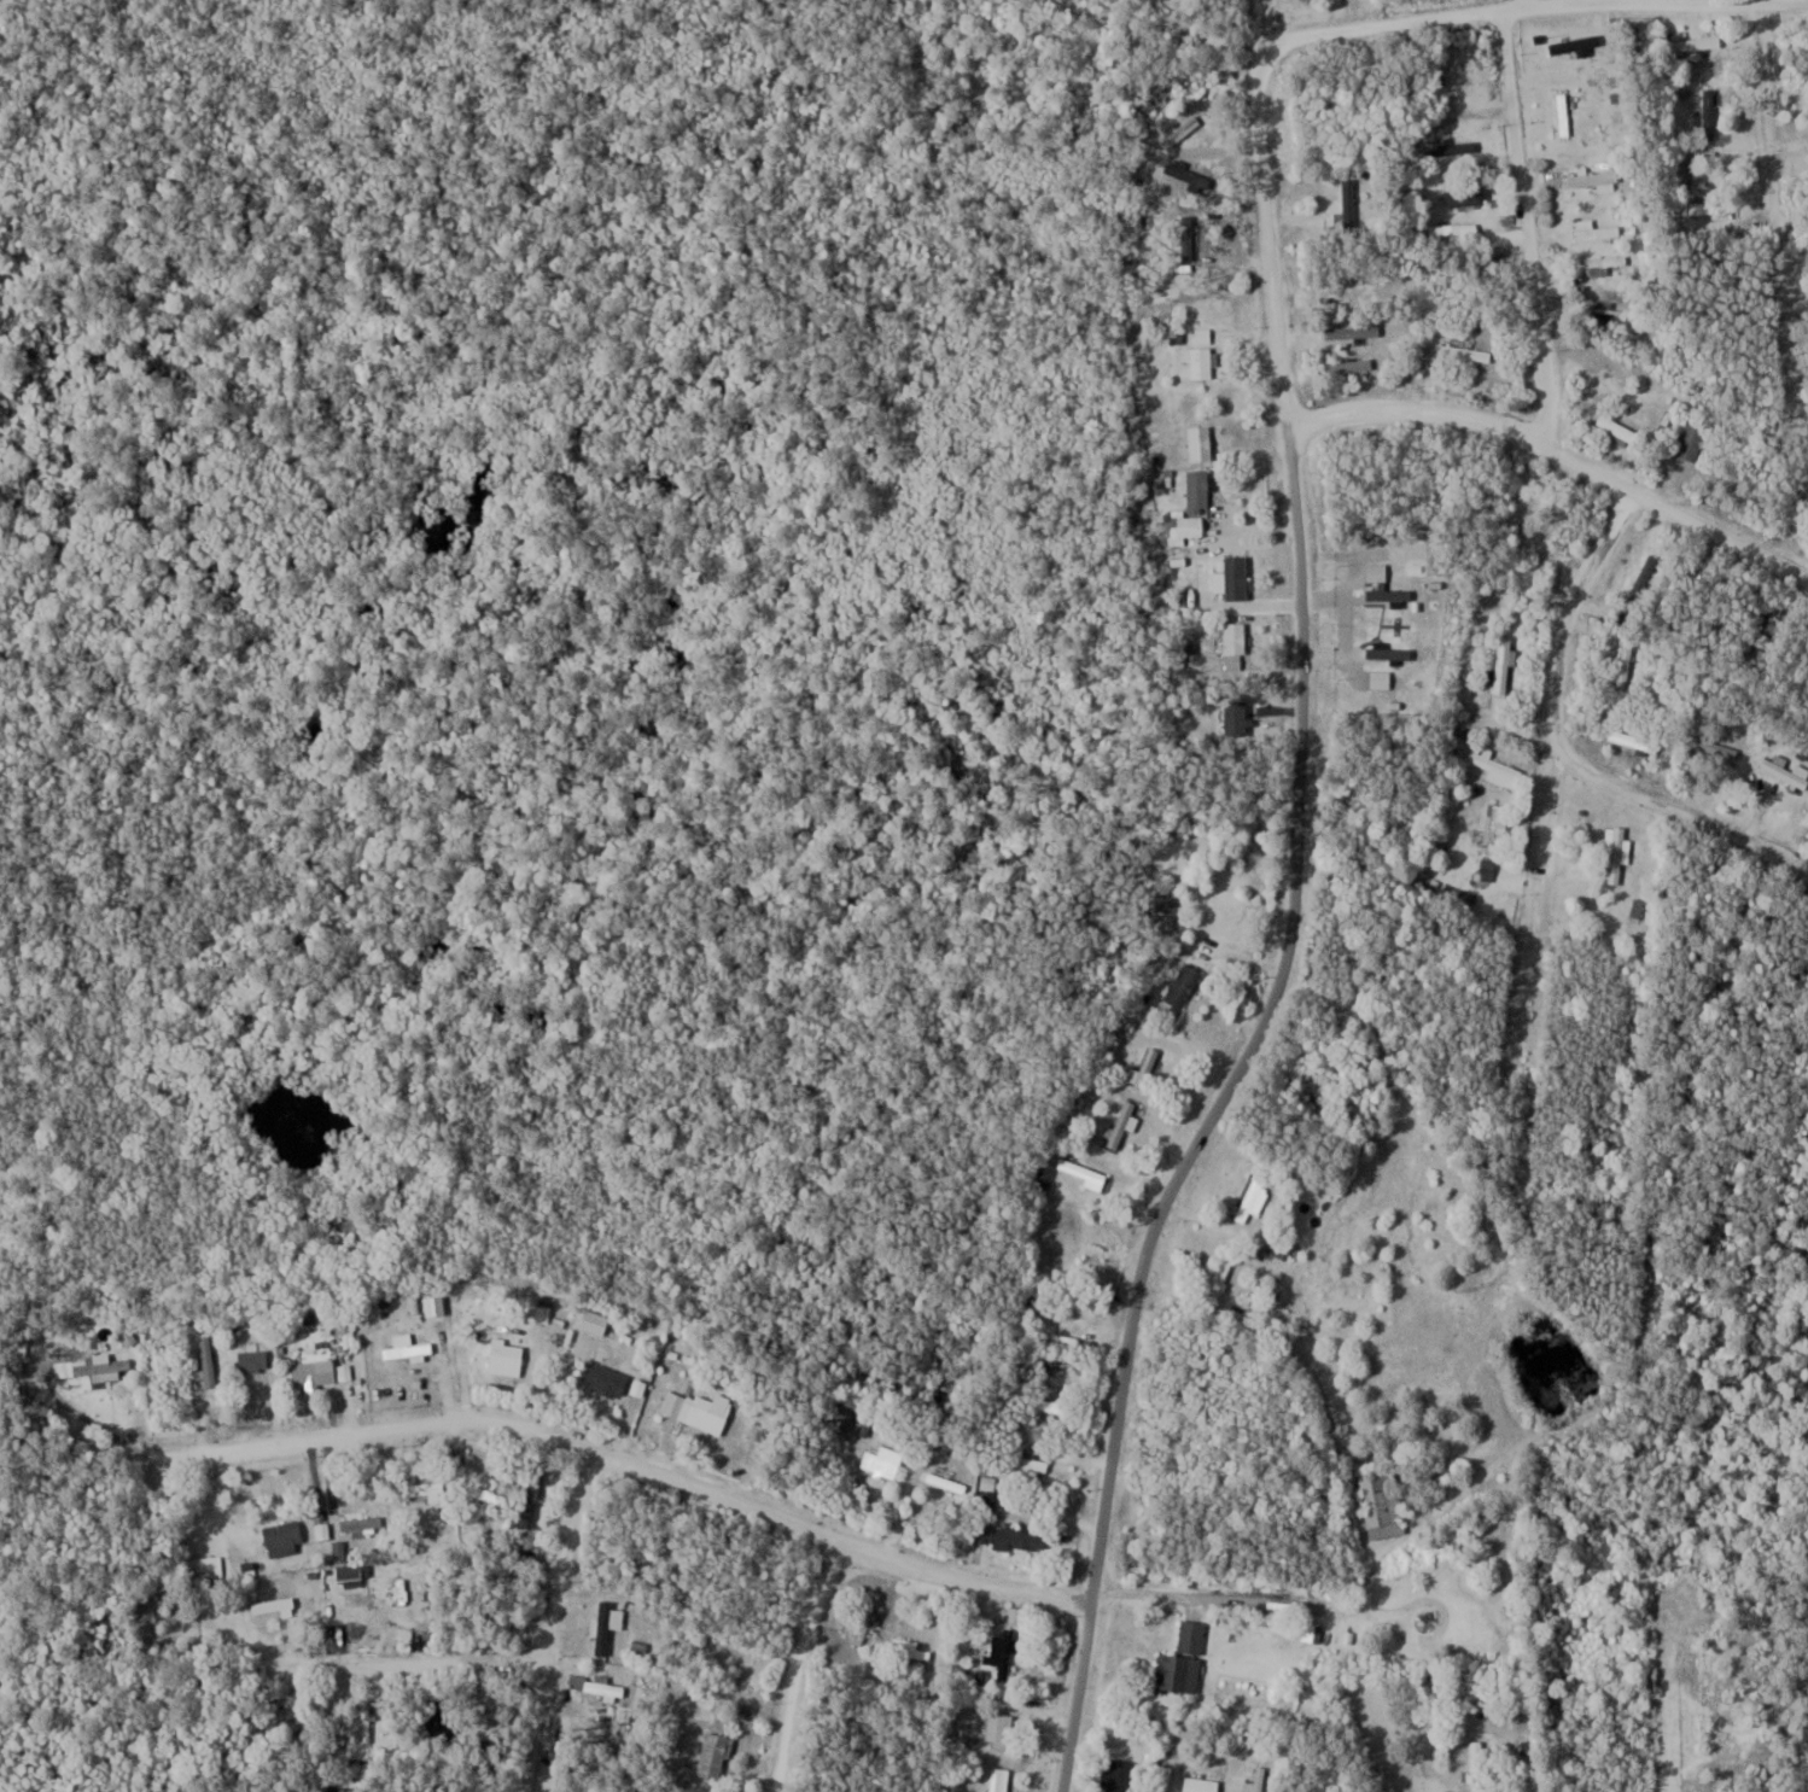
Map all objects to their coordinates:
road: (1790, 1)
road: (1762, 2)
road: (1450, 16)
building: (1698, 42)
building: (1576, 45)
building: (1710, 111)
building: (1564, 113)
building: (1453, 146)
building: (1596, 179)
building: (1468, 194)
building: (1351, 205)
road: (1779, 215)
road: (1526, 222)
building: (1597, 230)
building: (1454, 232)
building: (1605, 264)
building: (1354, 332)
building: (1468, 352)
building: (1201, 363)
building: (1352, 366)
building: (1629, 366)
building: (1620, 428)
building: (1693, 439)
building: (1202, 443)
road: (1556, 449)
building: (1200, 488)
building: (1189, 525)
building: (1231, 567)
building: (1237, 637)
building: (1627, 667)
building: (1634, 740)
building: (1714, 747)
building: (1495, 766)
building: (1786, 772)
road: (1682, 818)
building: (1495, 836)
road: (1551, 846)
building: (1617, 852)
road: (1295, 915)
building: (1186, 983)
road: (1790, 1082)
building: (1087, 1175)
building: (1252, 1199)
building: (1281, 1247)
building: (1224, 1273)
building: (546, 1313)
building: (1072, 1318)
building: (596, 1321)
building: (409, 1350)
building: (508, 1354)
building: (209, 1359)
building: (253, 1360)
building: (1061, 1362)
building: (95, 1365)
building: (315, 1373)
building: (606, 1379)
building: (1050, 1405)
building: (711, 1411)
building: (857, 1420)
road: (555, 1436)
building: (1031, 1458)
building: (885, 1459)
building: (424, 1489)
building: (491, 1495)
building: (1383, 1499)
building: (531, 1502)
building: (363, 1524)
building: (322, 1529)
building: (286, 1537)
building: (1023, 1537)
building: (467, 1598)
building: (273, 1604)
road: (1213, 1605)
road: (549, 1618)
building: (867, 1625)
building: (911, 1647)
building: (1007, 1651)
building: (1185, 1659)
road: (801, 1663)
road: (406, 1668)
building: (301, 1716)
building: (364, 1717)
building: (1001, 1728)
road: (1409, 1743)
building: (716, 1755)
building: (1157, 1764)
building: (1480, 1764)
building: (1121, 1774)
building: (1001, 1779)
building: (1256, 1781)
building: (1202, 1784)
building: (338, 1787)
building: (463, 1790)
building: (587, 1790)

